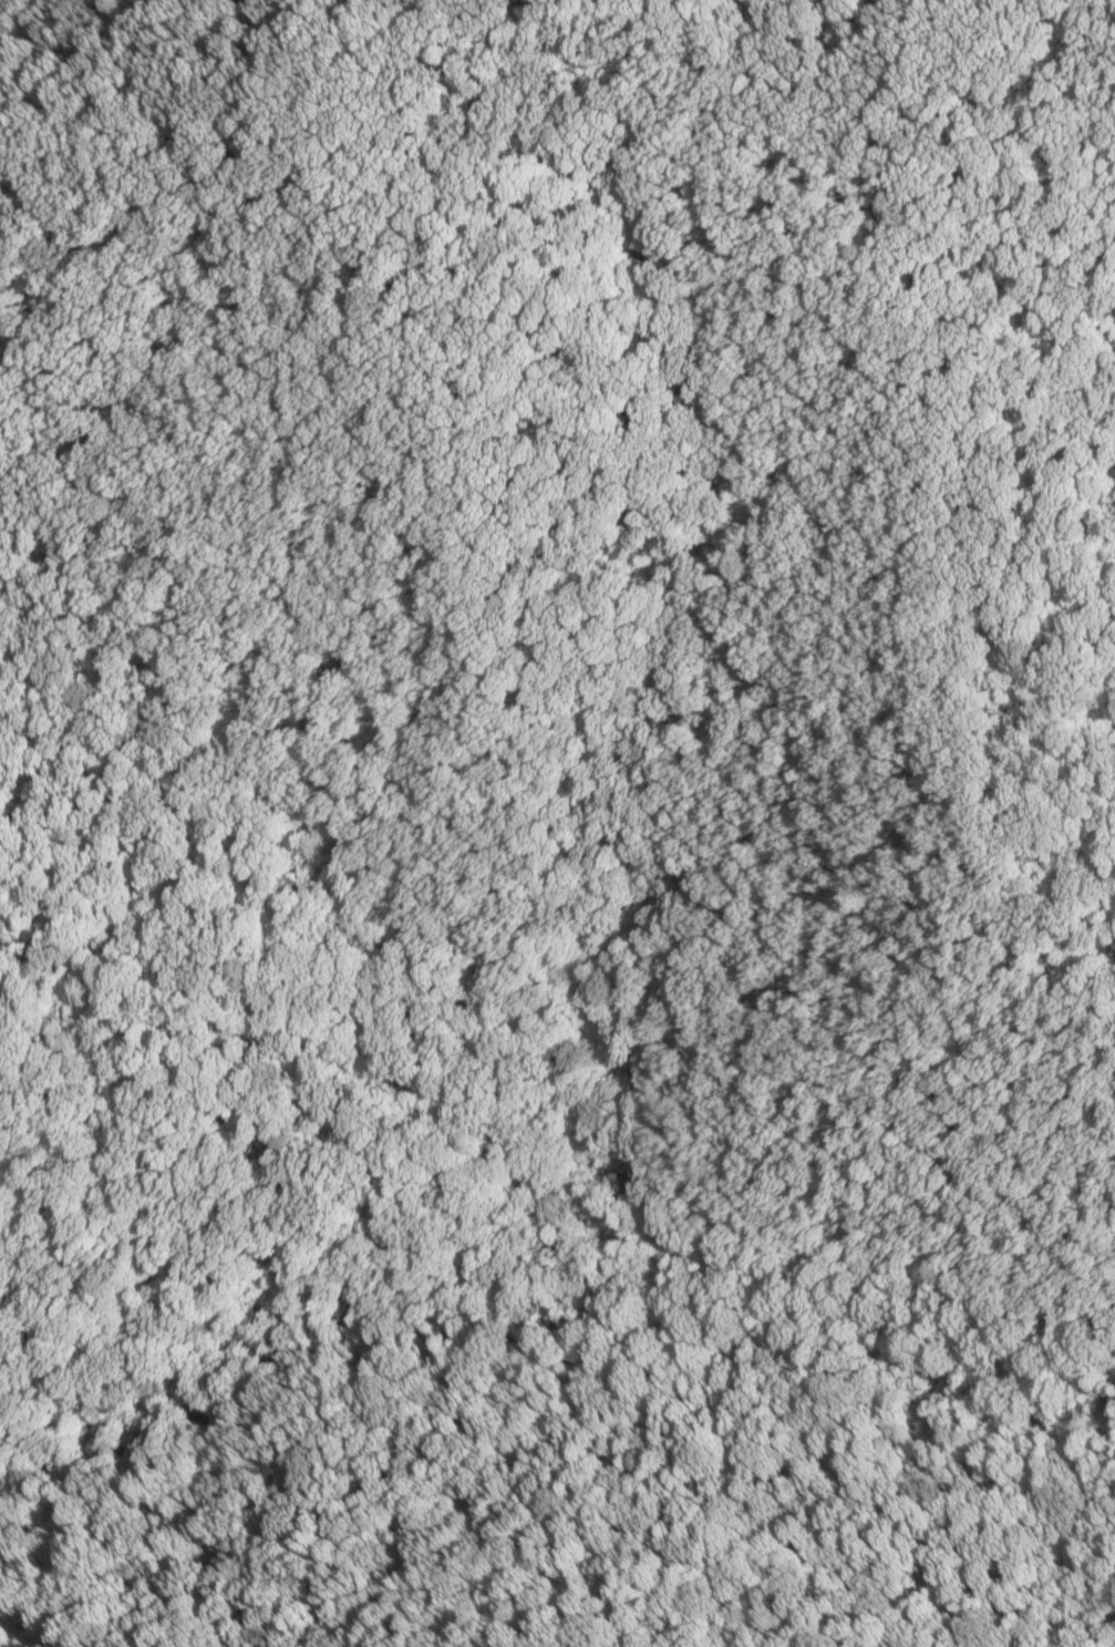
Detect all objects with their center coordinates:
road: (518, 1298)

